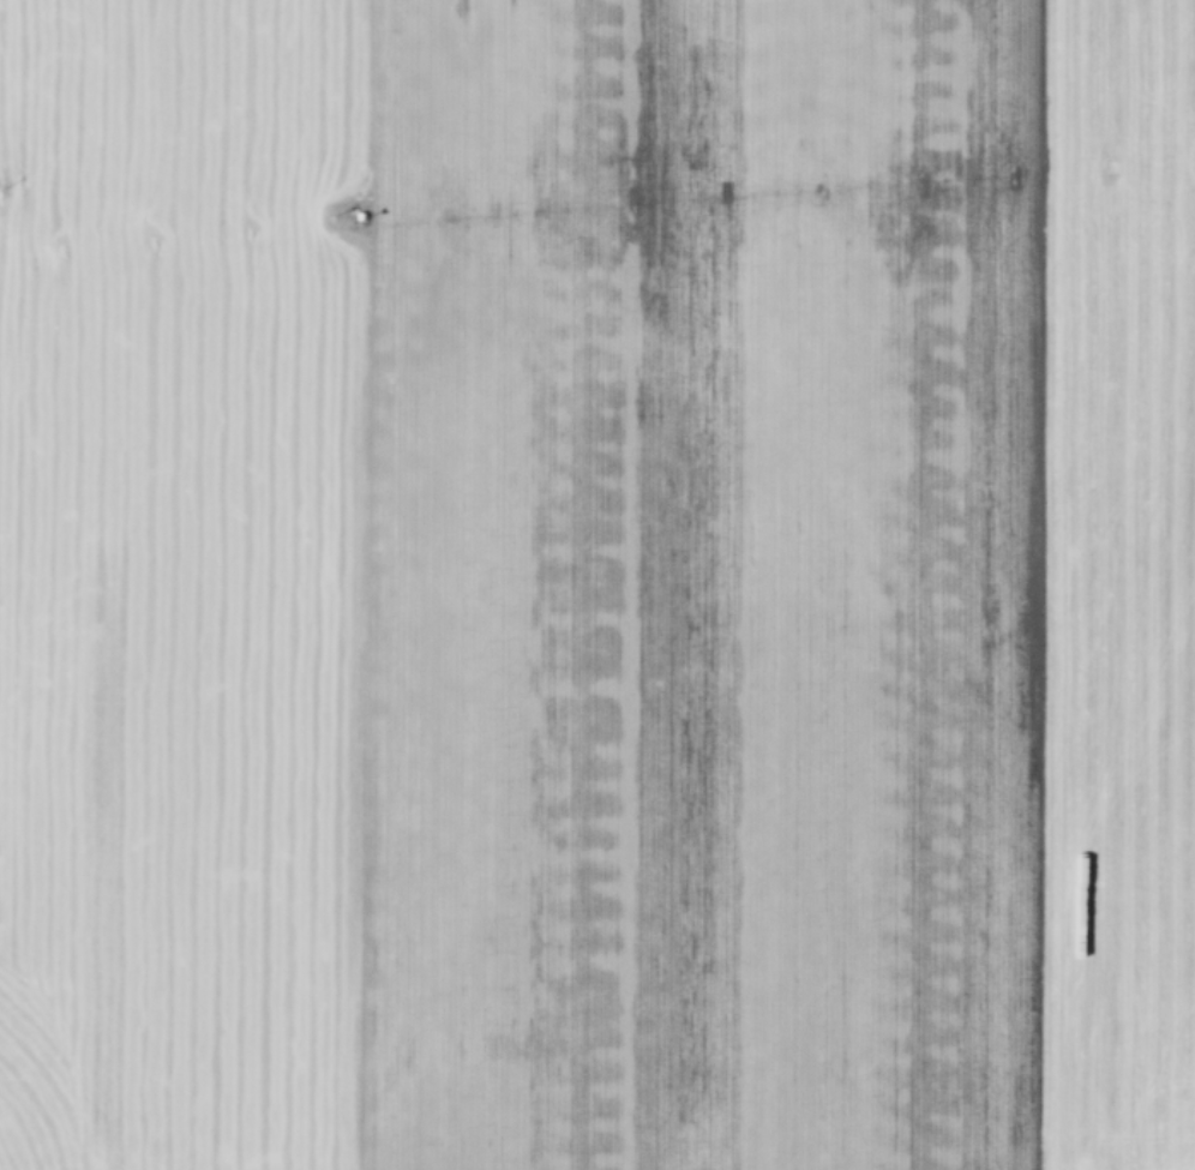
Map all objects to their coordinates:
crop: (597, 584)

